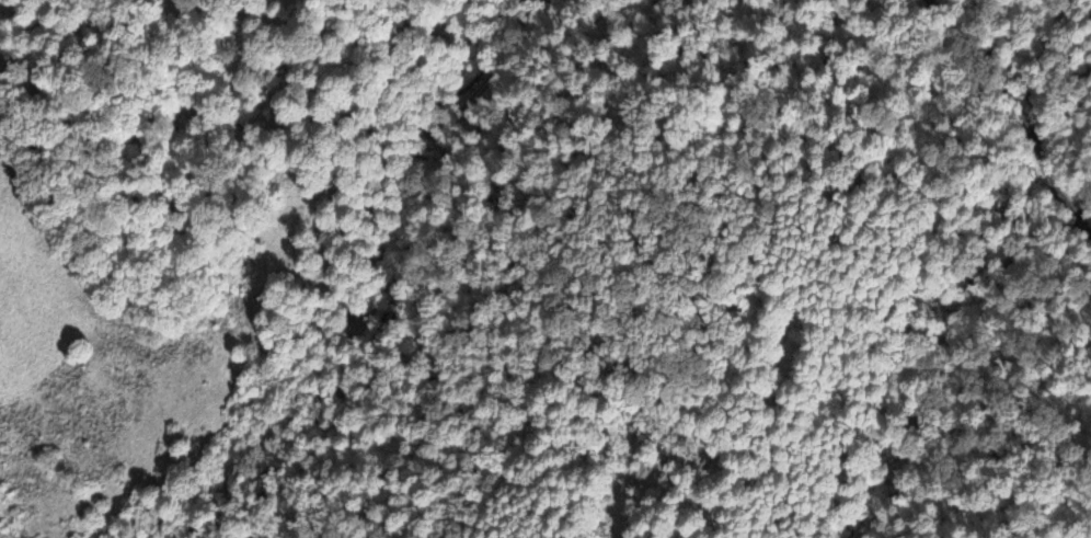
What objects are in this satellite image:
road: (1007, 113)

